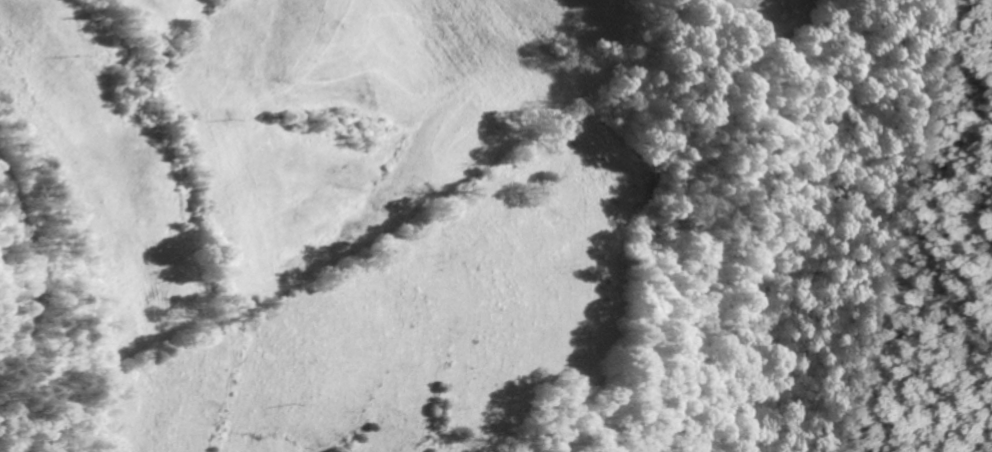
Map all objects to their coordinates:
road: (17, 292)

